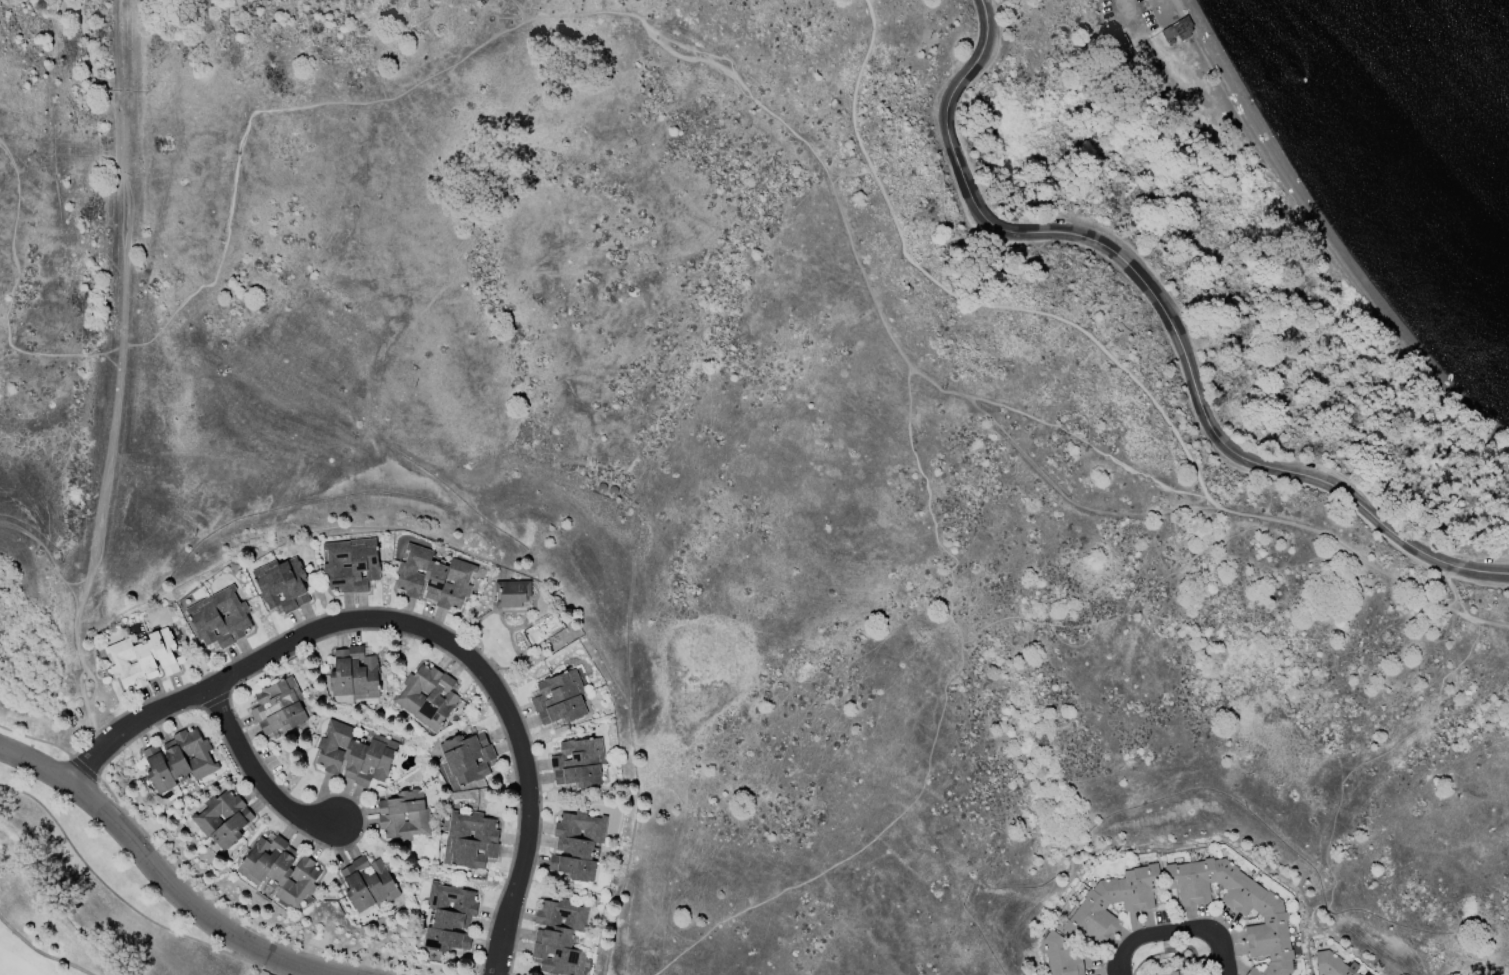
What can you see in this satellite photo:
road: (1130, 8)
parking lot: (1131, 16)
building: (1175, 34)
park: (58, 197)
park: (1063, 266)
road: (1166, 317)
road: (1109, 359)
road: (114, 373)
building: (350, 564)
building: (432, 578)
building: (281, 585)
building: (512, 594)
road: (1459, 604)
building: (218, 618)
road: (414, 629)
building: (141, 658)
building: (353, 675)
building: (426, 696)
building: (559, 699)
building: (276, 707)
road: (939, 714)
building: (354, 754)
building: (464, 759)
building: (177, 760)
building: (578, 764)
road: (254, 775)
building: (389, 818)
building: (222, 819)
building: (468, 840)
building: (577, 844)
building: (278, 869)
road: (158, 871)
building: (366, 884)
building: (1111, 904)
building: (1238, 907)
building: (447, 917)
road: (1175, 931)
building: (559, 938)
park: (30, 949)
road: (38, 954)
building: (1061, 956)
building: (1333, 964)
road: (272, 967)
building: (1169, 973)

